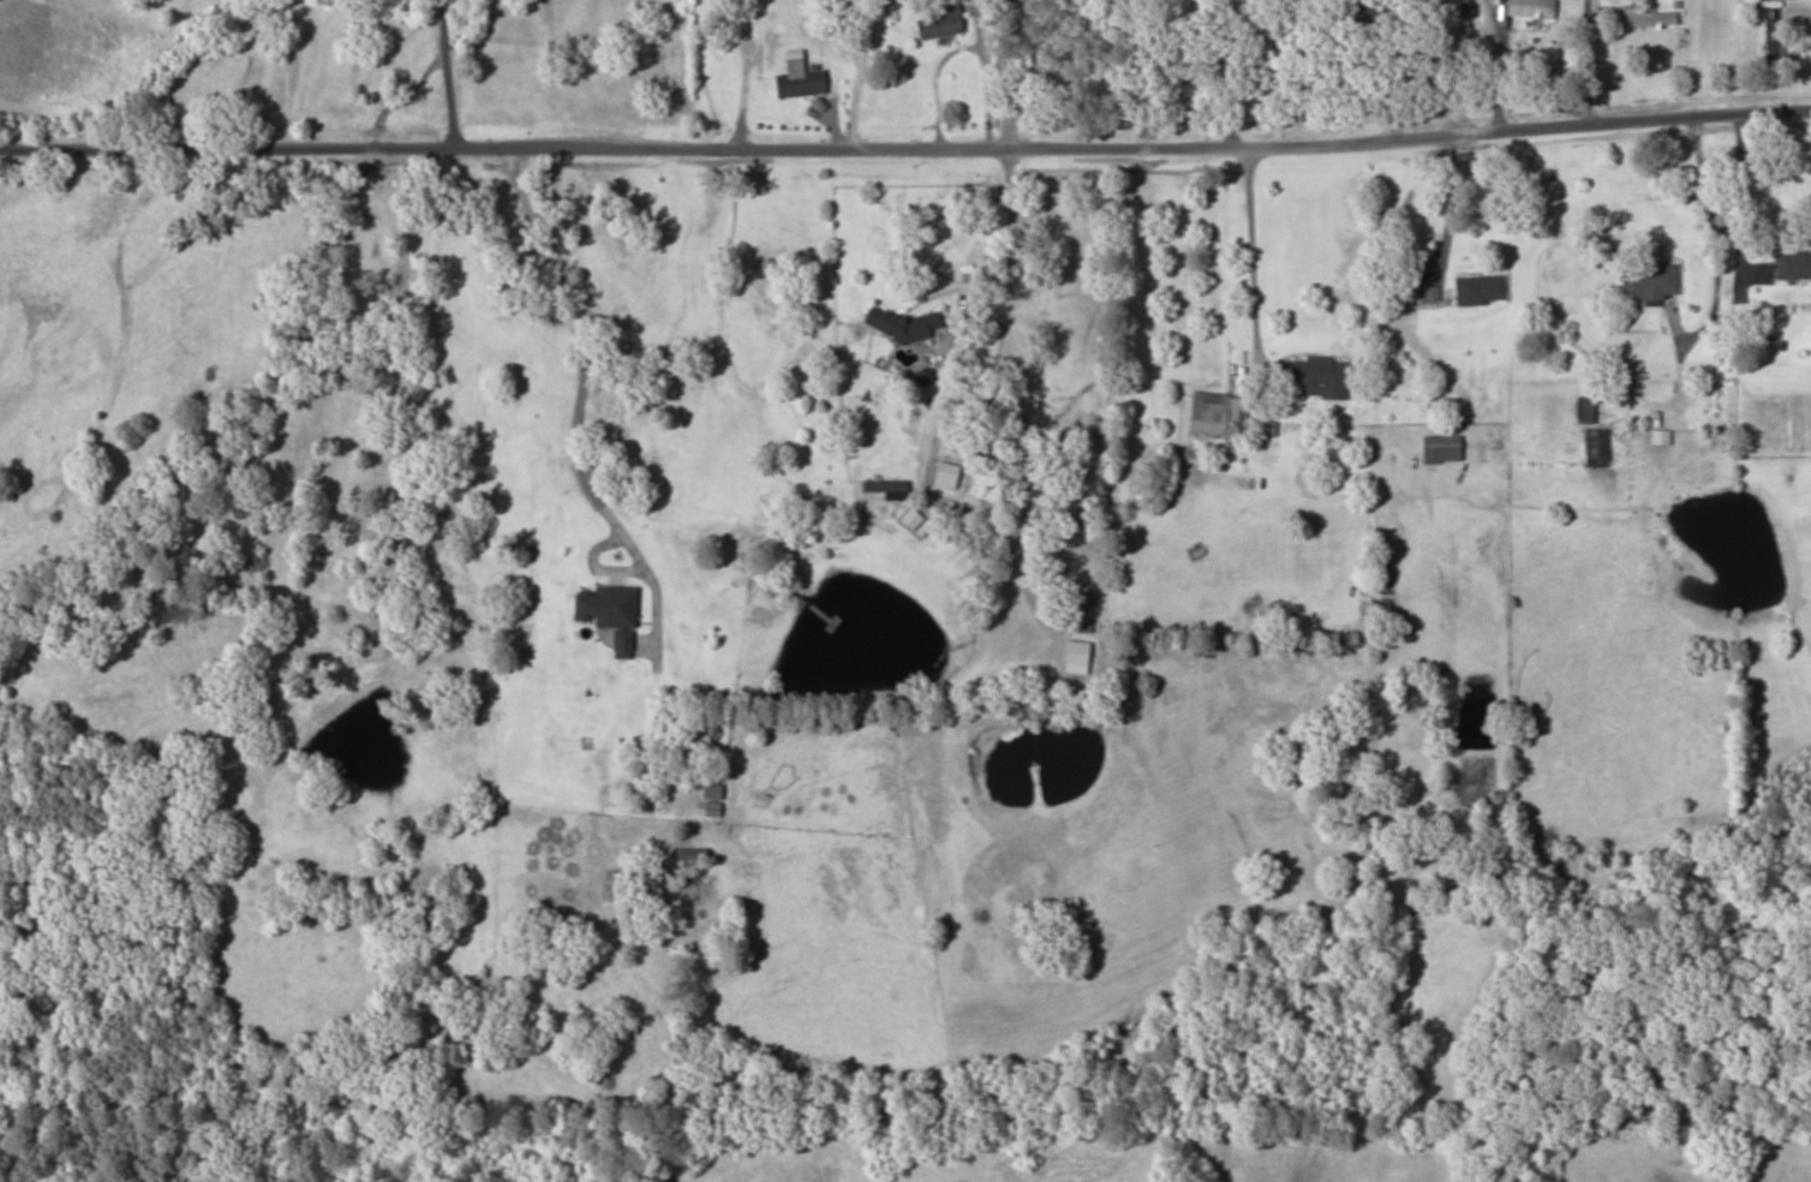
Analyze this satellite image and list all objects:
building: (1529, 8)
building: (1361, 17)
building: (1453, 17)
building: (1236, 19)
building: (1646, 19)
building: (937, 22)
building: (1774, 36)
building: (796, 80)
road: (905, 117)
building: (1792, 264)
building: (1648, 279)
building: (1478, 289)
building: (1315, 374)
building: (1400, 383)
building: (1583, 408)
building: (1206, 412)
building: (1595, 447)
building: (1439, 448)
building: (1075, 608)
building: (606, 614)

